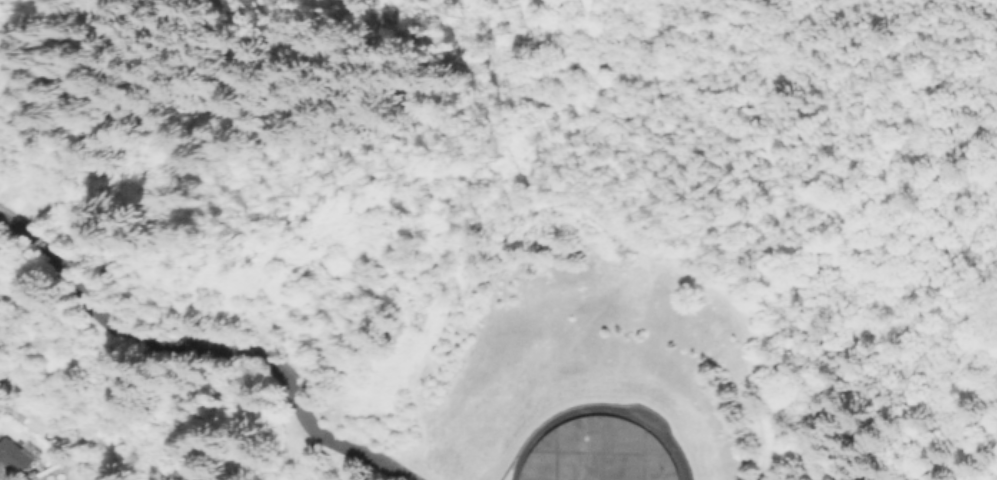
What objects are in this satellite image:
road: (488, 93)
road: (689, 138)
road: (541, 207)
road: (6, 221)
road: (204, 348)
road: (599, 411)
building: (611, 450)
rooftop solar panel: (29, 451)
building: (17, 454)
road: (749, 456)

